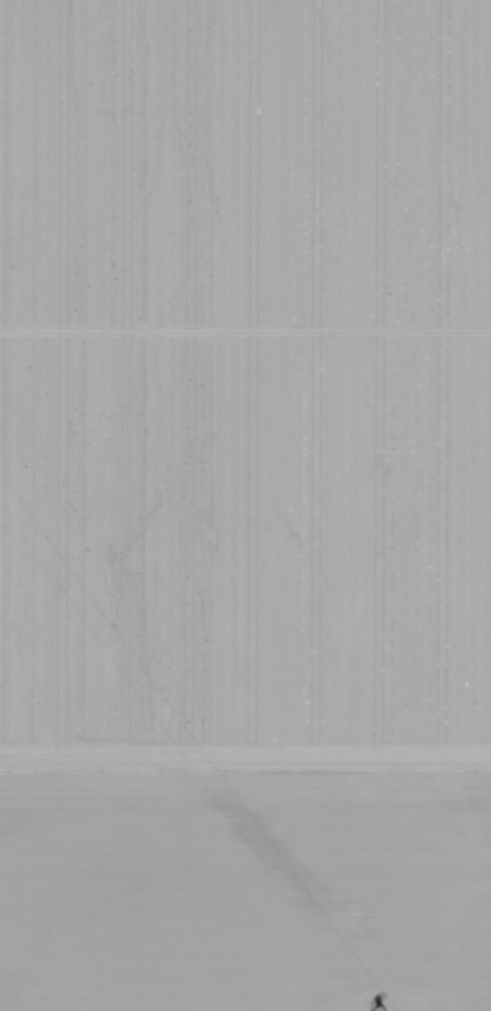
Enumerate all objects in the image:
crop: (245, 377)
road: (245, 767)

